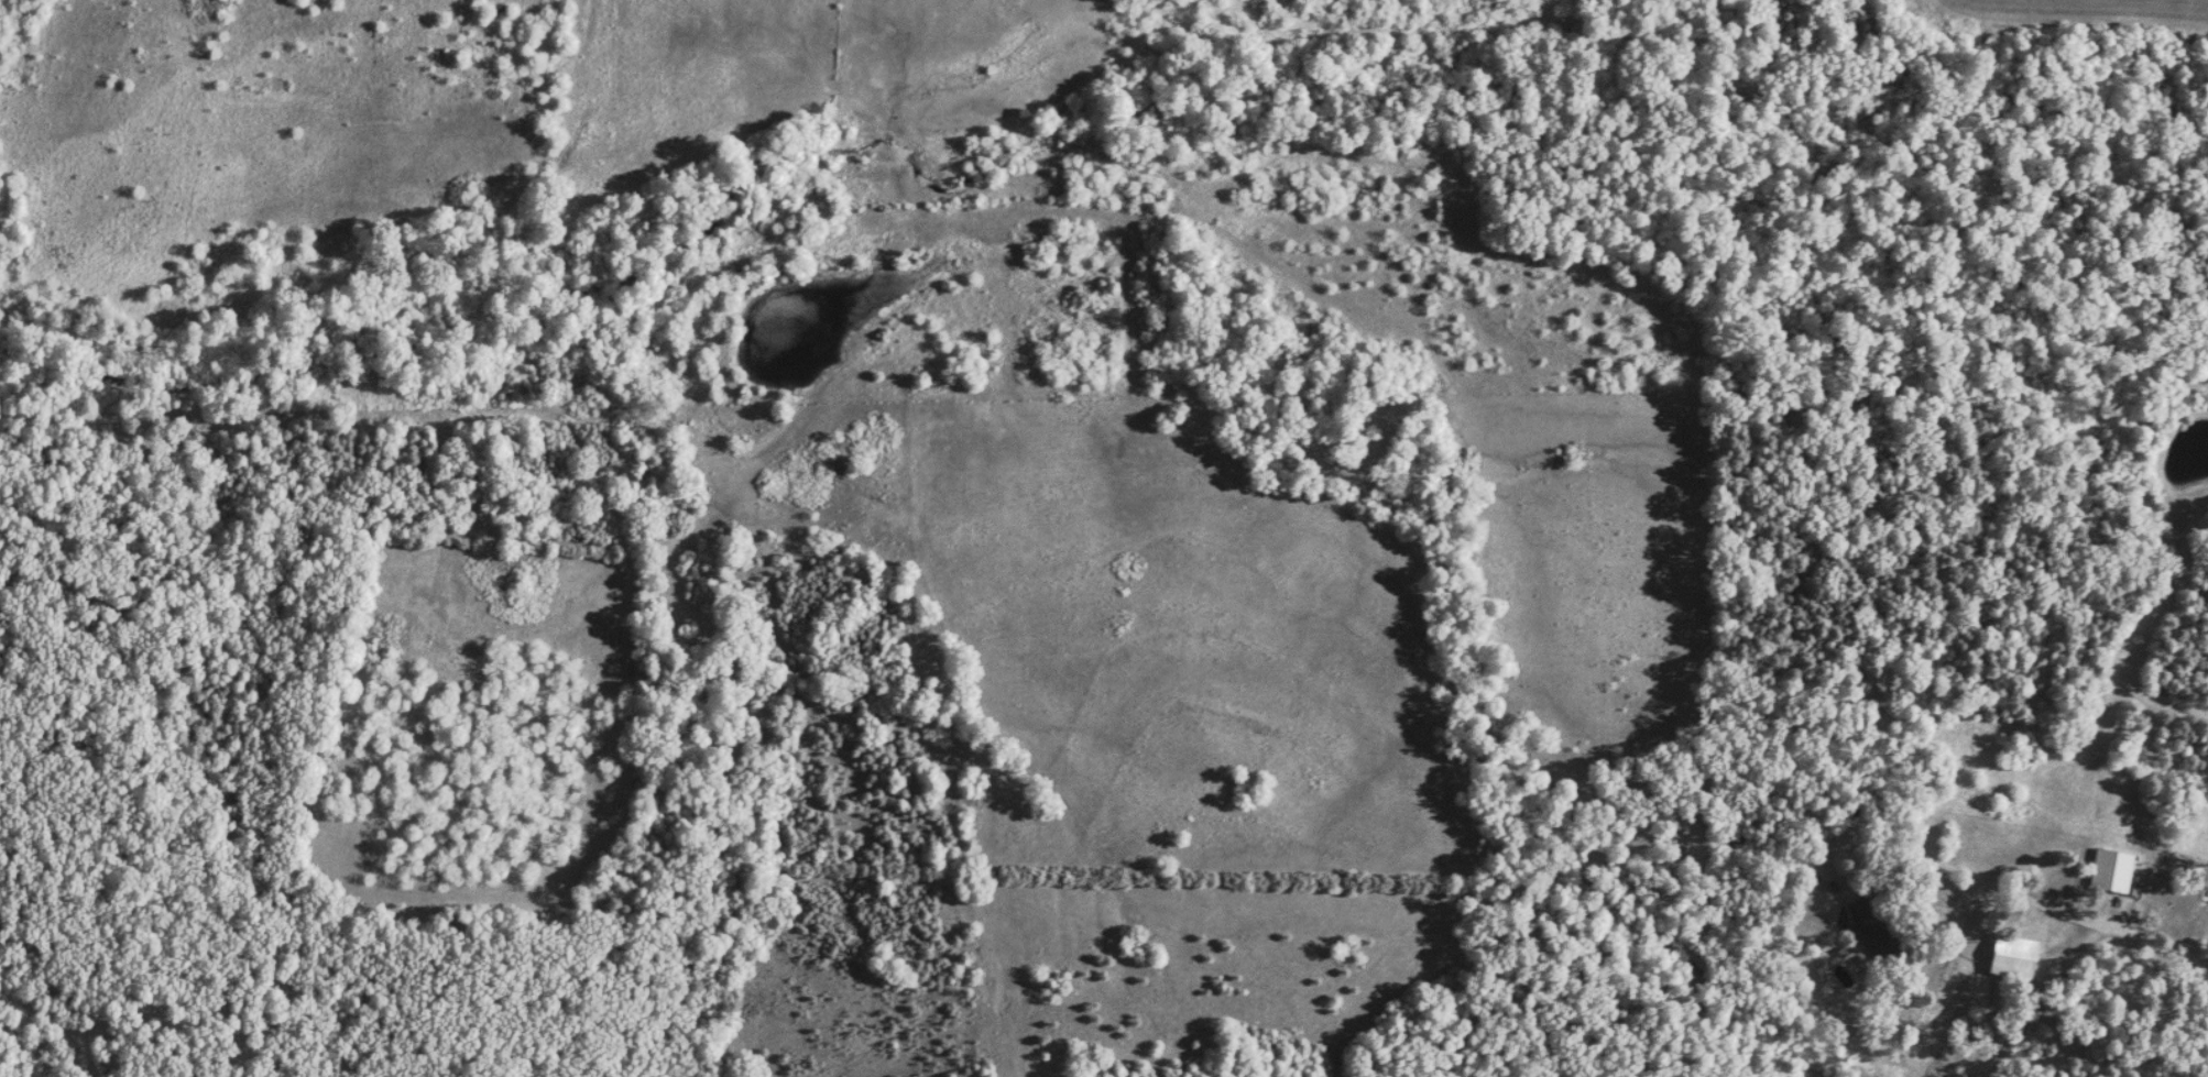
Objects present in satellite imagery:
building: (1830, 871)
road: (1977, 881)
building: (1877, 939)
building: (2018, 957)

